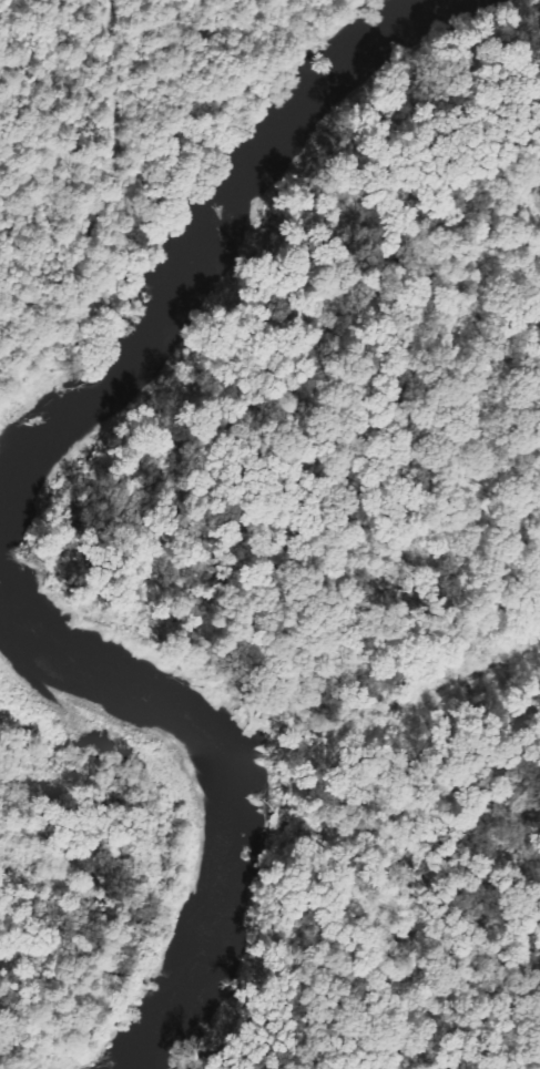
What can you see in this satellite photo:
river: (203, 241)
river: (214, 784)

